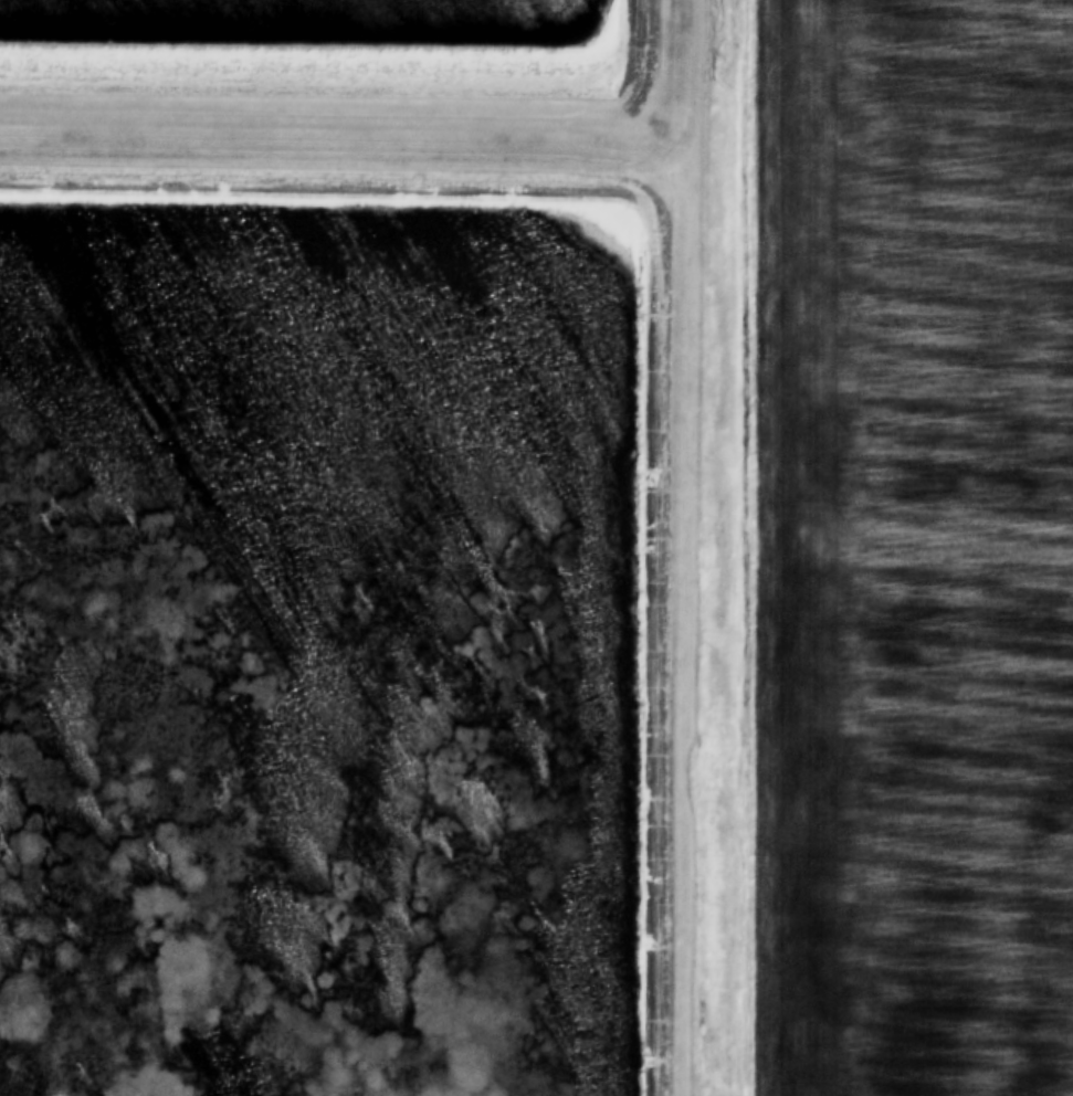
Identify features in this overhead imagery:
road: (419, 166)
wastewater plant: (349, 546)
crop: (912, 548)

